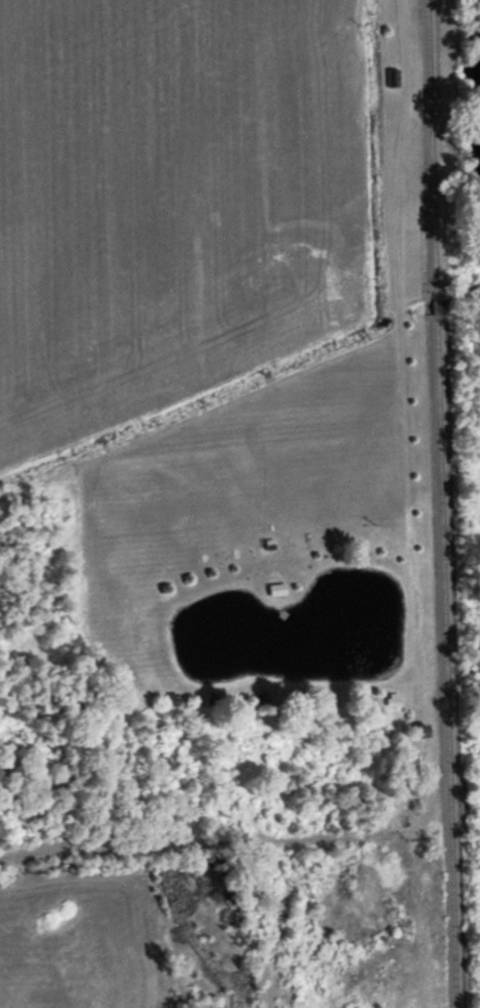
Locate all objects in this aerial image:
building: (393, 77)
railway: (433, 145)
railway: (437, 302)
railway: (446, 661)
building: (423, 729)

